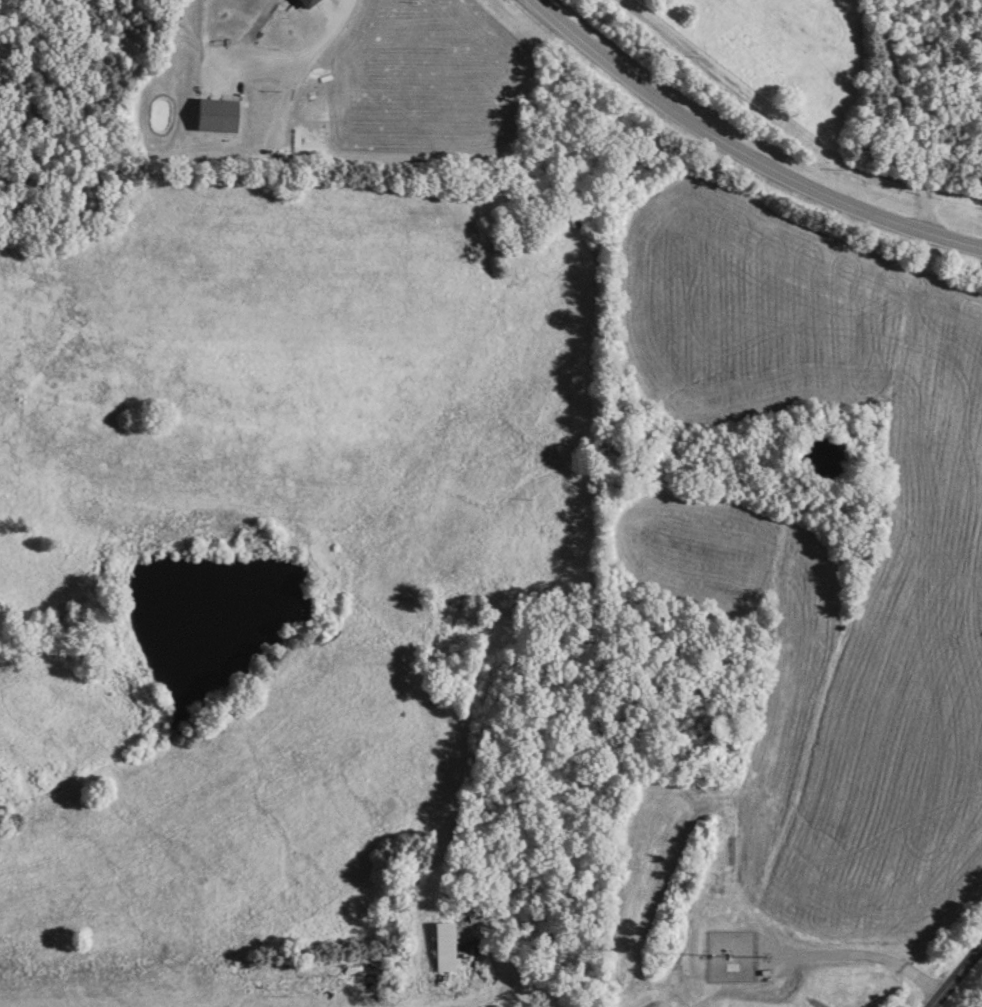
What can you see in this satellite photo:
road: (297, 58)
building: (219, 116)
road: (903, 117)
road: (742, 153)
building: (571, 216)
building: (446, 949)
road: (506, 968)
road: (956, 975)

